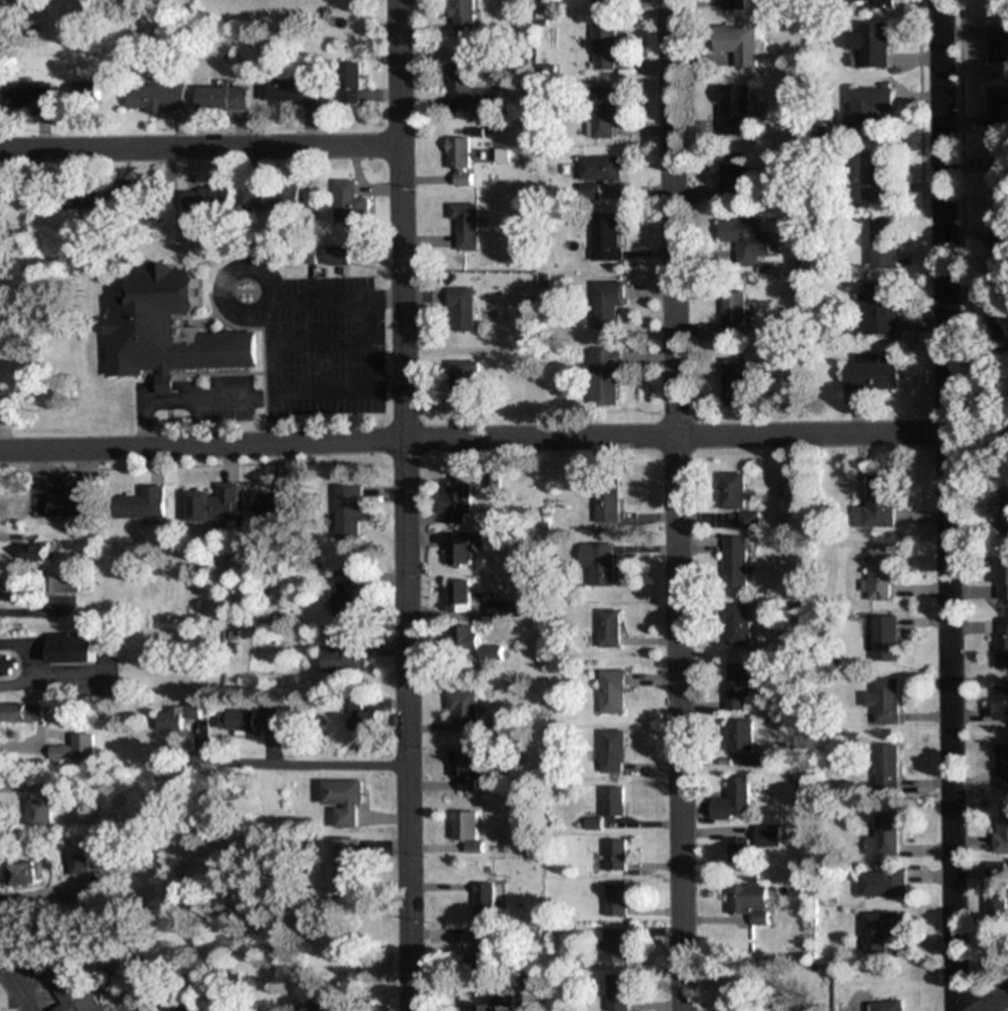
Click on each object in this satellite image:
building: (997, 2)
building: (874, 3)
building: (604, 4)
building: (732, 4)
road: (959, 7)
building: (463, 15)
building: (739, 43)
building: (872, 44)
building: (998, 44)
building: (605, 47)
building: (350, 83)
building: (288, 90)
building: (466, 90)
building: (29, 95)
building: (162, 97)
building: (220, 98)
building: (871, 105)
building: (732, 109)
building: (998, 111)
building: (604, 113)
road: (200, 147)
building: (460, 160)
building: (596, 174)
building: (733, 175)
building: (878, 175)
building: (999, 175)
building: (125, 194)
building: (79, 197)
building: (273, 197)
building: (206, 198)
building: (347, 200)
building: (464, 225)
building: (605, 237)
building: (741, 241)
building: (883, 241)
building: (1000, 251)
building: (336, 255)
road: (225, 277)
road: (337, 295)
building: (607, 303)
building: (878, 308)
building: (461, 309)
building: (732, 313)
building: (165, 328)
parking lot: (309, 334)
road: (321, 340)
road: (272, 372)
building: (870, 374)
building: (603, 375)
building: (464, 380)
building: (733, 382)
road: (388, 383)
road: (287, 393)
parking lot: (227, 398)
road: (472, 438)
building: (730, 490)
building: (456, 499)
building: (607, 499)
building: (875, 503)
building: (67, 504)
building: (141, 504)
building: (213, 504)
road: (405, 505)
road: (675, 505)
road: (945, 505)
building: (267, 506)
building: (1005, 511)
building: (348, 512)
building: (747, 520)
building: (462, 547)
building: (35, 553)
building: (733, 559)
building: (600, 564)
building: (879, 575)
building: (1003, 580)
building: (60, 584)
building: (8, 590)
building: (344, 593)
building: (460, 596)
building: (505, 610)
building: (735, 625)
building: (608, 629)
building: (883, 639)
building: (1001, 644)
building: (474, 646)
building: (69, 648)
building: (342, 659)
building: (5, 664)
building: (736, 686)
building: (613, 691)
building: (881, 700)
building: (999, 702)
building: (465, 711)
building: (21, 712)
building: (175, 716)
building: (362, 718)
building: (240, 720)
building: (738, 735)
building: (72, 748)
building: (611, 751)
road: (292, 762)
building: (884, 763)
building: (1001, 765)
building: (468, 770)
building: (731, 800)
building: (612, 801)
building: (341, 804)
building: (41, 808)
building: (1000, 828)
building: (468, 830)
building: (765, 836)
building: (881, 836)
building: (736, 852)
building: (615, 855)
building: (77, 864)
building: (346, 866)
building: (21, 873)
building: (881, 883)
building: (993, 894)
building: (615, 900)
building: (485, 901)
building: (746, 901)
building: (879, 930)
building: (486, 942)
building: (615, 946)
building: (68, 987)
building: (618, 993)
road: (993, 1001)
building: (872, 1006)
building: (187, 1008)
building: (483, 1008)

